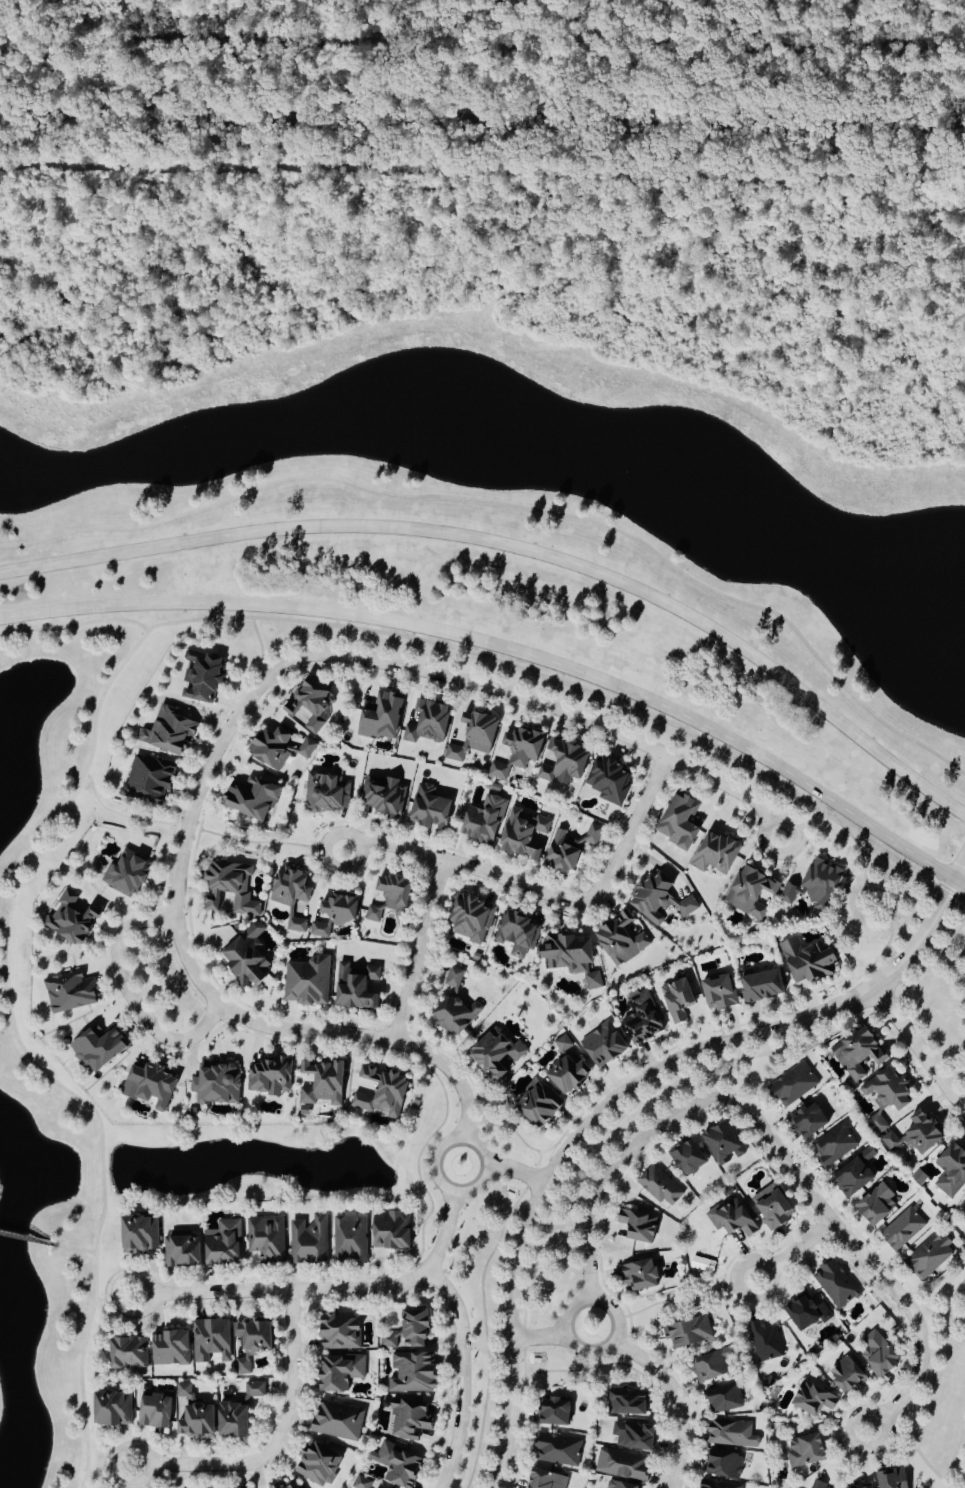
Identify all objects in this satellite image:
river: (482, 120)
road: (482, 169)
road: (518, 506)
road: (519, 547)
road: (74, 624)
road: (141, 636)
road: (509, 650)
road: (258, 664)
building: (203, 675)
road: (228, 702)
building: (311, 702)
building: (383, 717)
building: (429, 722)
road: (234, 723)
building: (171, 731)
building: (481, 731)
building: (278, 748)
building: (456, 752)
building: (519, 752)
building: (563, 762)
building: (148, 780)
building: (610, 780)
building: (327, 793)
building: (384, 795)
building: (252, 798)
building: (431, 808)
building: (484, 820)
building: (681, 822)
road: (204, 832)
building: (524, 835)
building: (570, 848)
building: (716, 853)
road: (166, 861)
building: (127, 874)
building: (814, 883)
building: (291, 887)
building: (231, 888)
building: (752, 892)
road: (548, 894)
road: (959, 896)
building: (392, 897)
building: (659, 898)
building: (342, 908)
building: (472, 918)
building: (72, 920)
building: (319, 930)
building: (517, 933)
building: (622, 938)
road: (419, 951)
building: (247, 957)
building: (572, 957)
building: (806, 959)
road: (929, 964)
road: (950, 965)
road: (954, 970)
building: (454, 978)
building: (307, 981)
building: (763, 986)
building: (357, 987)
building: (70, 992)
building: (720, 992)
park: (936, 994)
road: (131, 997)
building: (678, 999)
building: (455, 1014)
building: (642, 1017)
building: (604, 1044)
building: (100, 1048)
road: (919, 1048)
building: (856, 1051)
building: (498, 1054)
building: (568, 1068)
building: (270, 1077)
building: (323, 1082)
building: (217, 1084)
building: (154, 1085)
building: (793, 1085)
building: (381, 1092)
road: (620, 1095)
building: (886, 1095)
building: (541, 1105)
building: (809, 1121)
building: (918, 1134)
building: (724, 1143)
building: (833, 1145)
road: (779, 1150)
building: (867, 1154)
building: (688, 1158)
building: (952, 1170)
road: (517, 1171)
building: (854, 1177)
road: (443, 1184)
building: (660, 1188)
building: (877, 1205)
building: (773, 1207)
building: (732, 1219)
building: (639, 1226)
building: (903, 1229)
building: (392, 1231)
building: (141, 1234)
road: (24, 1237)
building: (267, 1238)
building: (350, 1239)
building: (310, 1241)
building: (224, 1243)
road: (72, 1247)
building: (183, 1250)
road: (795, 1252)
building: (929, 1256)
building: (641, 1276)
building: (835, 1284)
road: (327, 1290)
road: (114, 1297)
building: (806, 1312)
building: (417, 1328)
building: (341, 1332)
building: (689, 1333)
road: (540, 1338)
building: (212, 1340)
building: (388, 1341)
building: (765, 1341)
building: (253, 1342)
road: (576, 1346)
building: (171, 1349)
building: (128, 1353)
building: (879, 1354)
building: (713, 1365)
building: (341, 1372)
building: (414, 1373)
road: (465, 1374)
building: (848, 1375)
building: (255, 1390)
road: (928, 1391)
building: (723, 1399)
building: (815, 1399)
road: (677, 1401)
building: (629, 1402)
building: (113, 1409)
building: (155, 1411)
building: (556, 1413)
building: (196, 1416)
building: (412, 1419)
building: (234, 1421)
building: (338, 1421)
building: (732, 1434)
building: (635, 1436)
road: (279, 1441)
building: (557, 1450)
building: (807, 1451)
building: (319, 1464)
building: (399, 1465)
building: (622, 1465)
building: (724, 1465)
road: (110, 1469)
building: (893, 1479)
building: (547, 1480)
building: (361, 1483)
building: (288, 1484)
building: (719, 1484)
building: (818, 1484)
building: (619, 1485)
building: (865, 1486)

